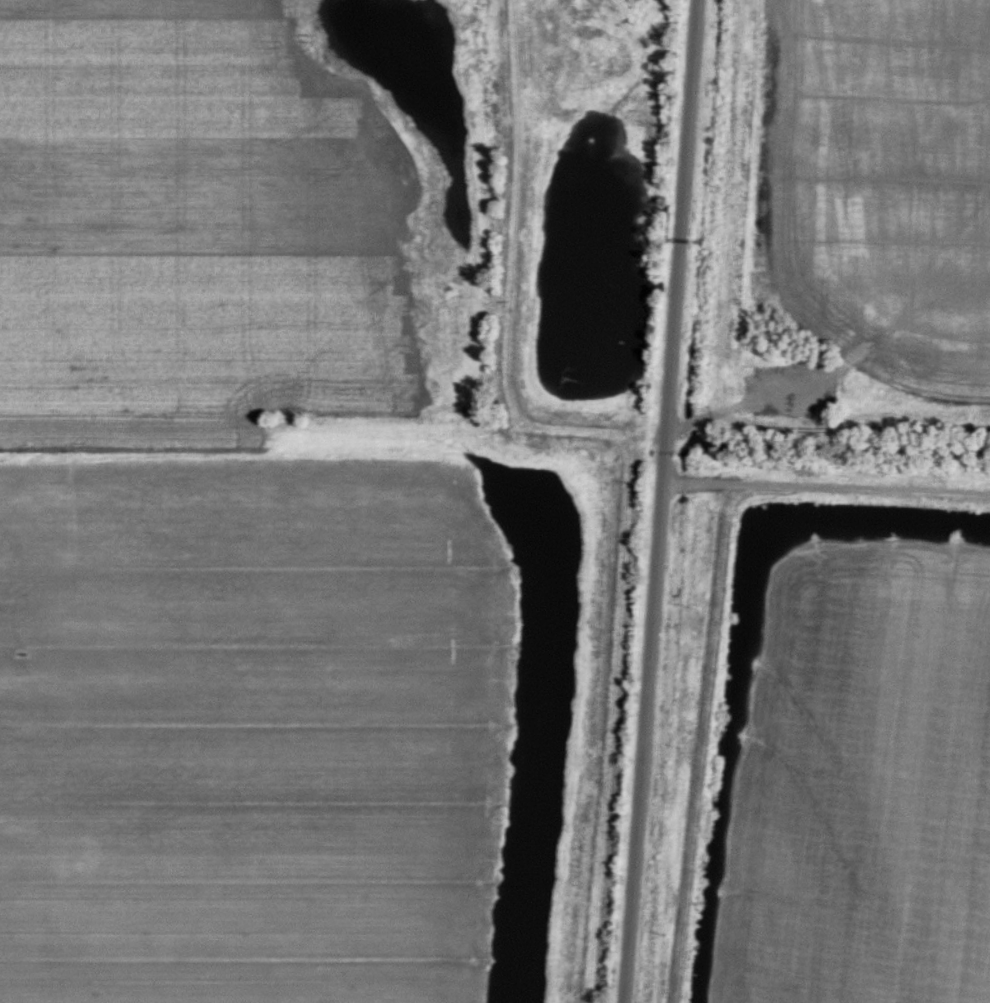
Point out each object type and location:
road: (655, 501)

